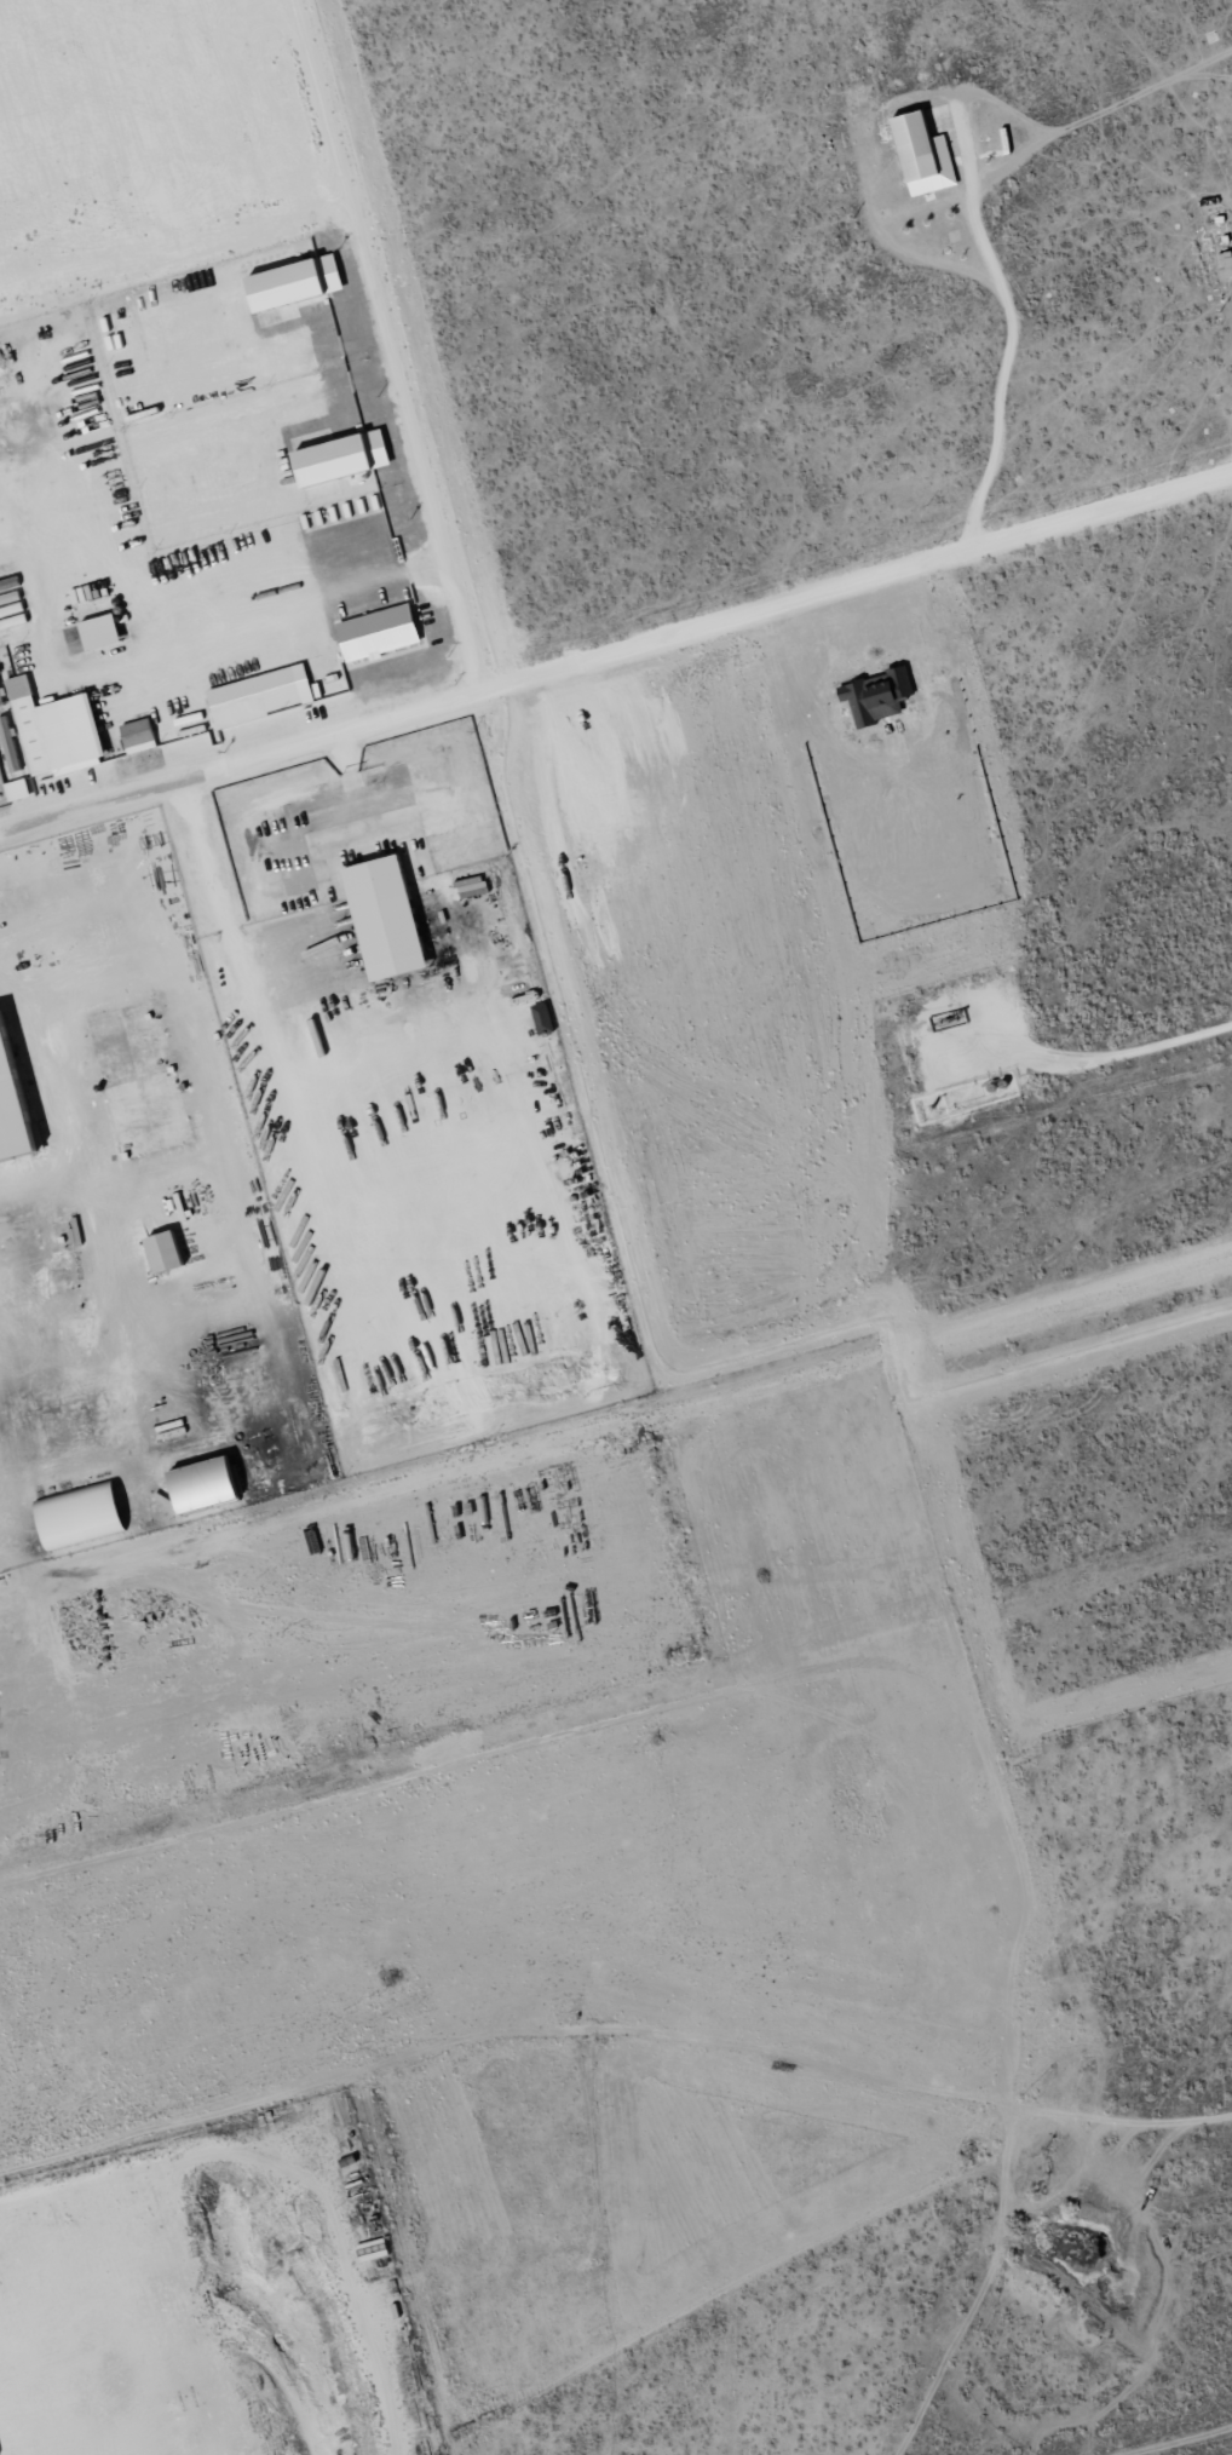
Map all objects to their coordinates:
building: (916, 156)
building: (1222, 265)
building: (303, 282)
building: (349, 456)
building: (106, 631)
building: (384, 632)
road: (616, 663)
building: (1, 688)
building: (258, 696)
road: (88, 723)
building: (61, 730)
building: (166, 732)
building: (143, 735)
building: (19, 789)
building: (395, 918)
building: (18, 1097)
building: (172, 1252)
building: (215, 1485)
building: (88, 1514)

